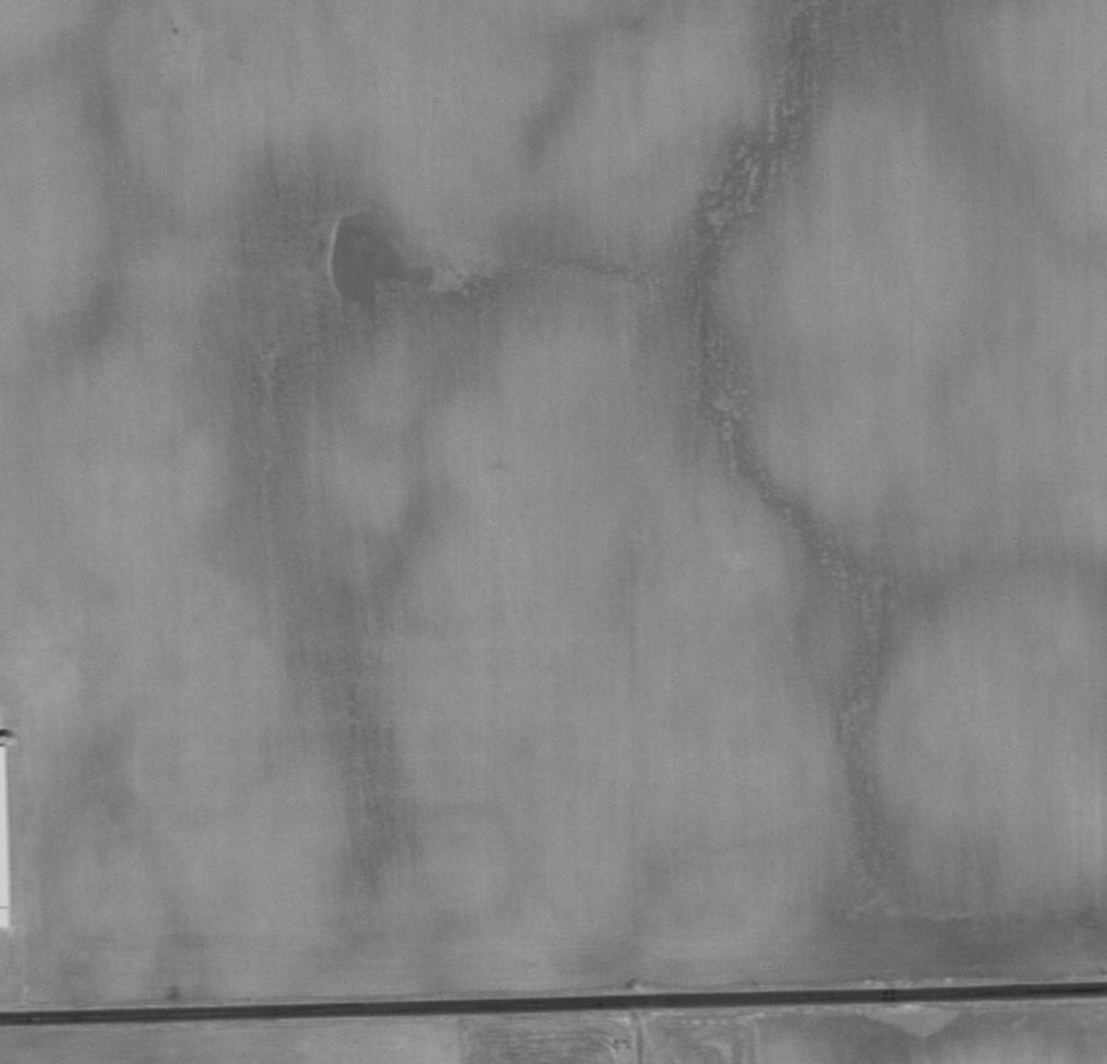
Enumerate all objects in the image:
road: (553, 1001)
road: (638, 1031)

